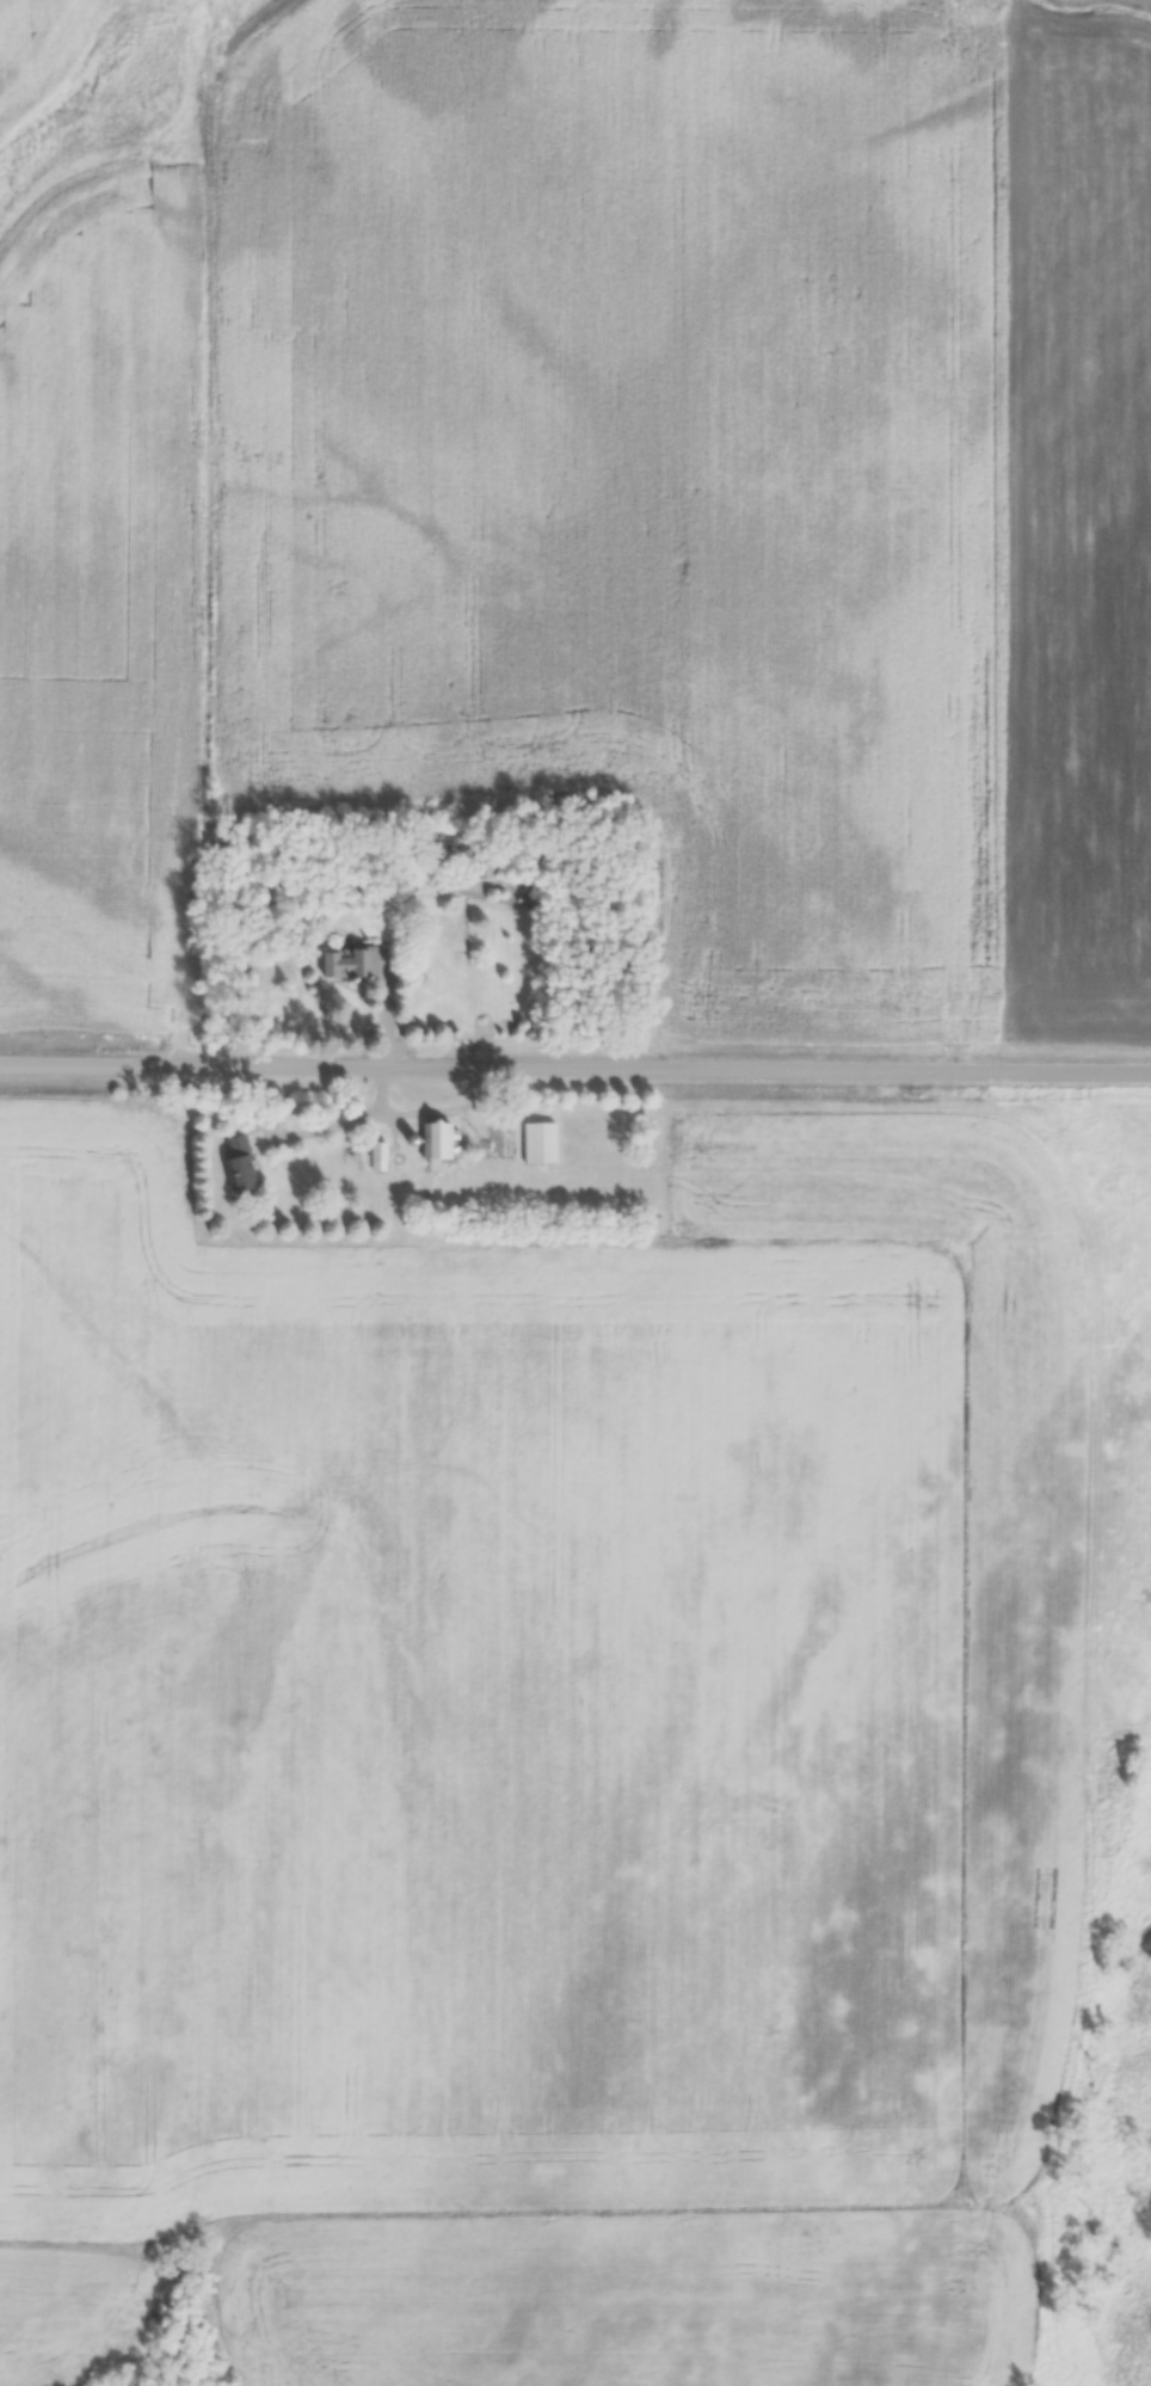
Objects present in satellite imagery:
building: (479, 863)
building: (341, 964)
road: (575, 1069)
building: (430, 1138)
building: (534, 1142)
building: (374, 1150)
building: (236, 1163)

